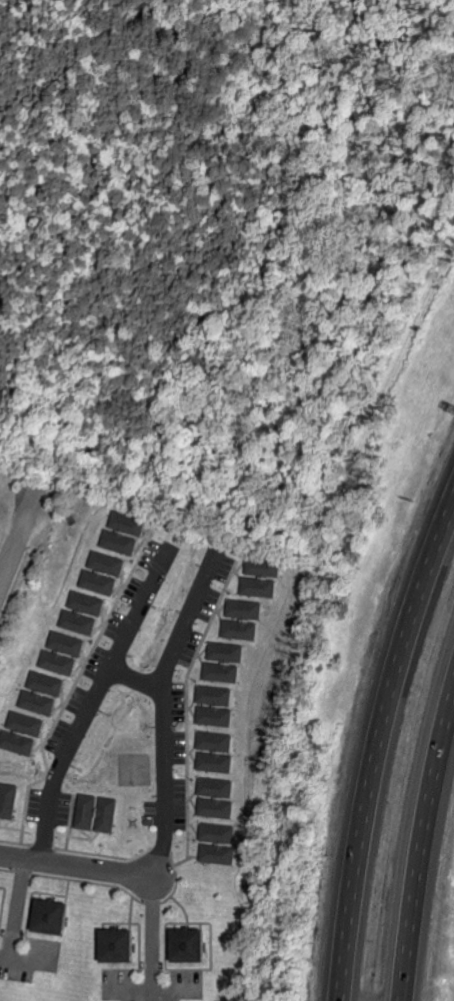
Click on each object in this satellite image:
road: (10, 34)
road: (88, 122)
road: (157, 194)
road: (100, 425)
building: (124, 533)
road: (19, 536)
building: (107, 563)
building: (260, 576)
building: (99, 582)
building: (87, 603)
building: (242, 619)
building: (78, 622)
building: (224, 662)
road: (133, 679)
building: (47, 683)
building: (38, 702)
road: (90, 702)
building: (215, 706)
building: (27, 723)
building: (18, 743)
road: (377, 744)
building: (215, 752)
building: (213, 787)
road: (161, 788)
building: (9, 800)
building: (215, 808)
building: (98, 813)
road: (421, 842)
building: (217, 843)
building: (0, 897)
road: (14, 908)
building: (53, 917)
road: (151, 933)
building: (120, 946)
building: (191, 946)
road: (21, 958)
road: (150, 991)

